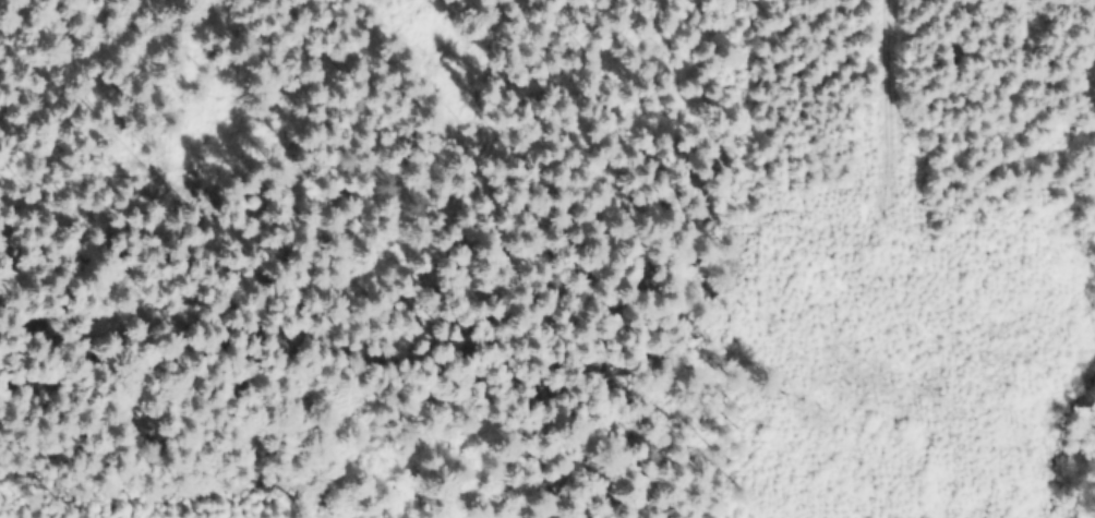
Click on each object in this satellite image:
road: (305, 274)

